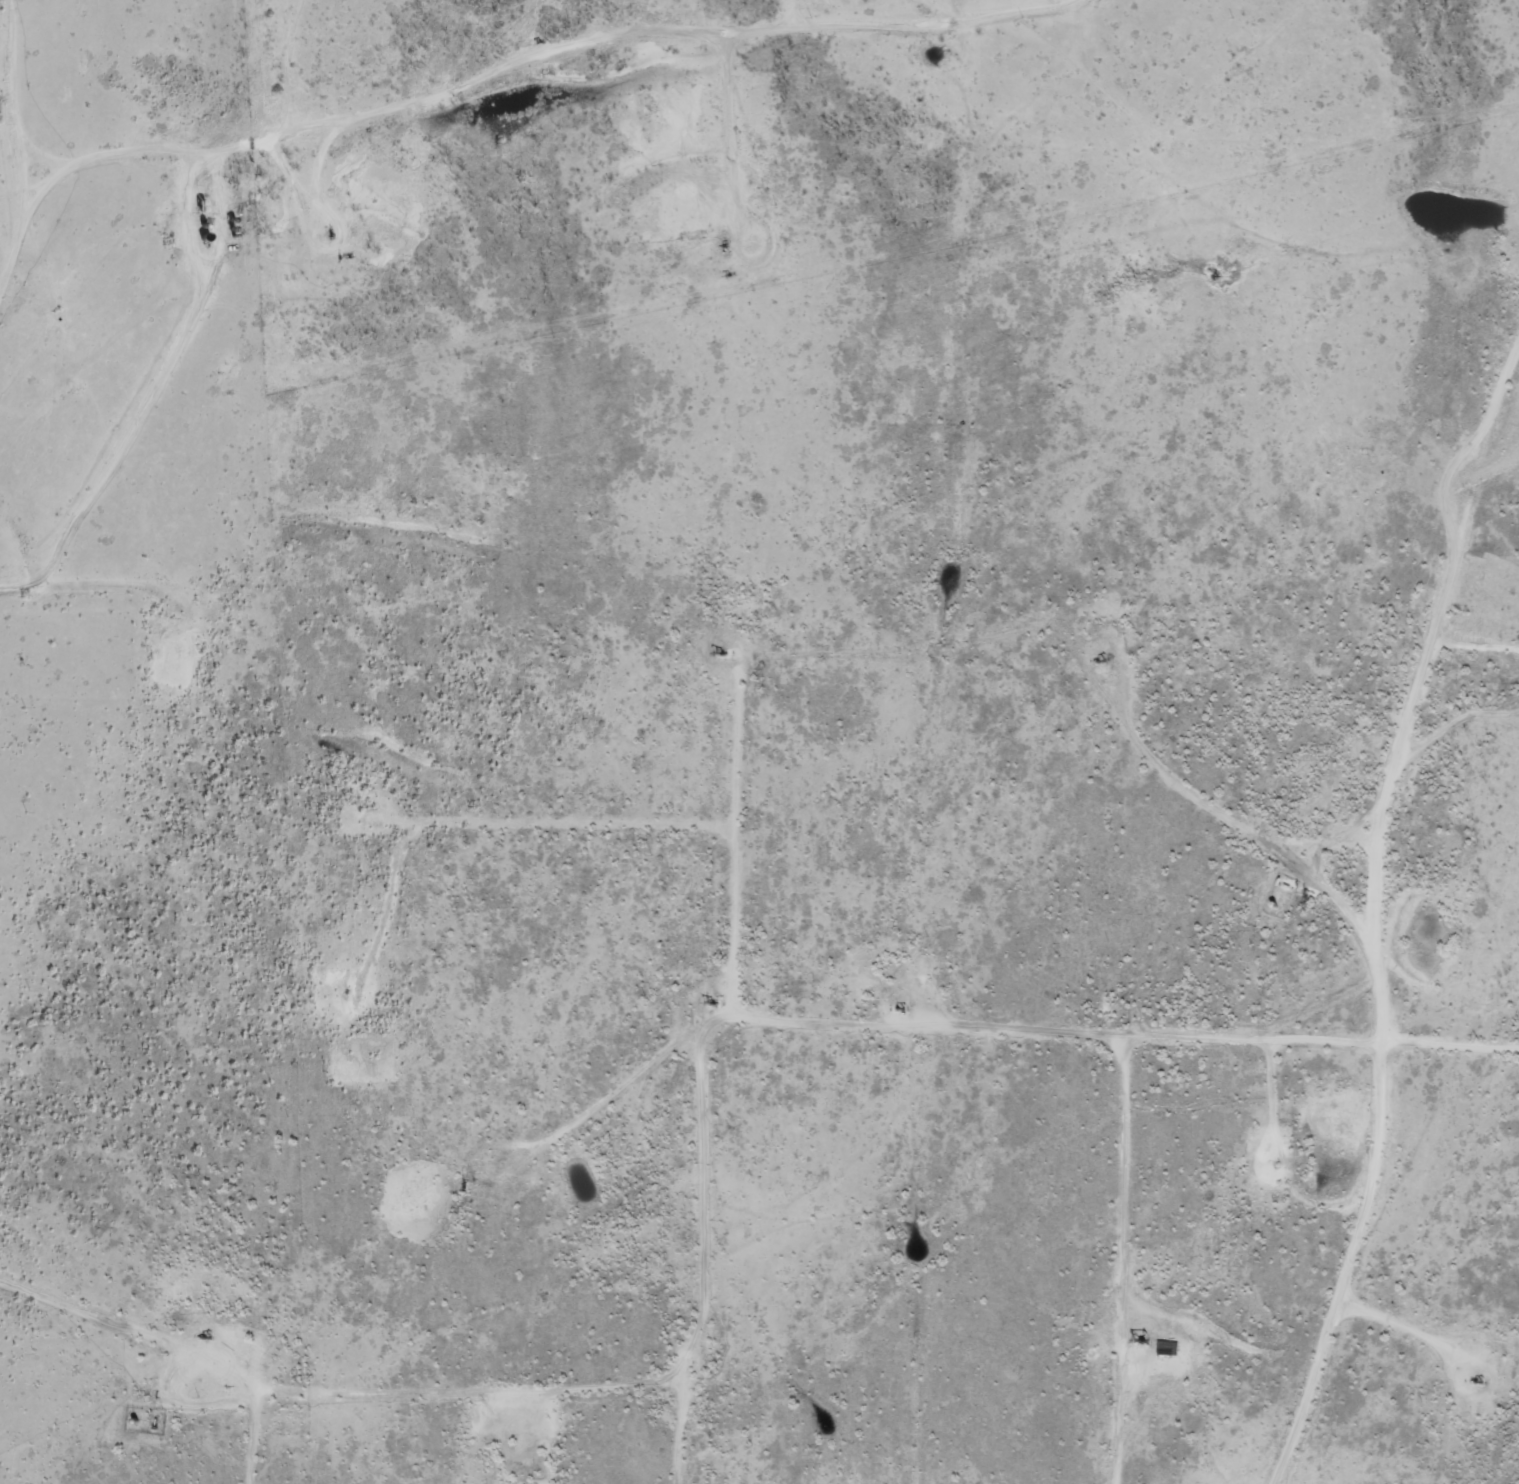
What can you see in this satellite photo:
road: (359, 142)
road: (1240, 272)
road: (931, 738)
road: (1376, 919)
road: (1137, 935)
road: (1479, 1044)
road: (1440, 1085)
road: (454, 1362)
road: (786, 1389)

